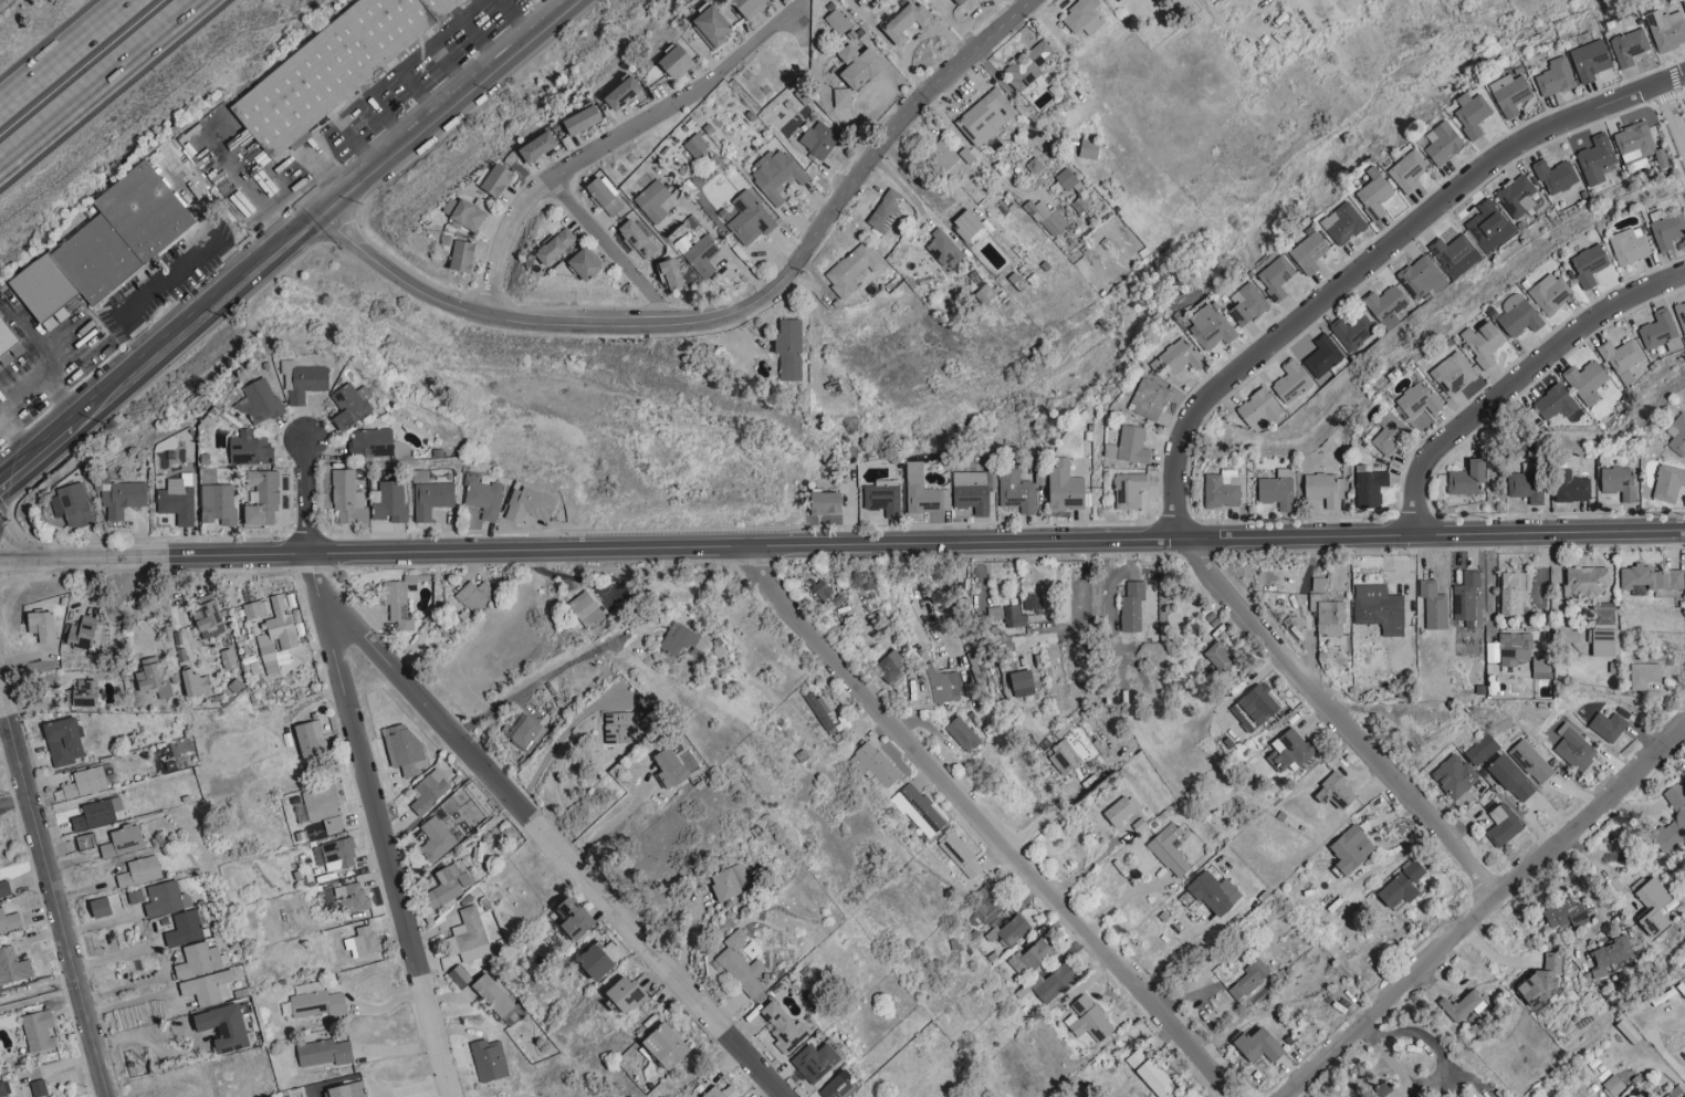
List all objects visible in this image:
building: (862, 1)
building: (962, 2)
building: (750, 6)
building: (1084, 17)
road: (512, 21)
building: (837, 21)
building: (907, 21)
road: (1234, 22)
building: (712, 27)
building: (1666, 29)
road: (480, 41)
building: (1629, 46)
road: (63, 52)
building: (1589, 60)
building: (678, 61)
building: (333, 65)
building: (860, 65)
building: (1029, 65)
road: (449, 67)
building: (1555, 77)
road: (104, 83)
road: (418, 93)
building: (624, 93)
building: (1510, 93)
building: (842, 97)
road: (349, 106)
road: (1673, 113)
building: (1471, 114)
building: (986, 116)
road: (388, 117)
building: (583, 119)
building: (819, 139)
road: (609, 143)
building: (1442, 143)
road: (356, 145)
building: (1634, 145)
building: (540, 146)
building: (695, 146)
building: (1089, 149)
building: (943, 155)
building: (1661, 158)
building: (1597, 159)
road: (328, 167)
building: (1406, 170)
building: (776, 174)
building: (1556, 176)
building: (1066, 178)
building: (499, 180)
building: (1375, 192)
building: (605, 196)
building: (1517, 196)
building: (653, 200)
building: (887, 210)
road: (327, 212)
building: (464, 213)
building: (1047, 218)
building: (750, 219)
building: (1342, 223)
building: (969, 224)
building: (1489, 227)
building: (1667, 231)
building: (639, 238)
building: (107, 243)
road: (725, 244)
building: (556, 245)
building: (1630, 245)
building: (944, 249)
road: (610, 252)
building: (1309, 252)
building: (1456, 254)
building: (463, 255)
building: (702, 255)
road: (1375, 257)
building: (587, 264)
building: (1589, 264)
building: (852, 269)
building: (671, 273)
road: (167, 275)
building: (1276, 276)
building: (1423, 276)
building: (1549, 293)
building: (1248, 304)
building: (1386, 304)
road: (730, 313)
building: (1518, 315)
building: (1681, 315)
building: (1210, 327)
building: (1658, 330)
building: (1351, 333)
building: (1483, 343)
building: (9, 346)
building: (789, 349)
building: (1621, 355)
building: (1323, 356)
building: (1172, 358)
road: (43, 368)
building: (1453, 373)
road: (1517, 378)
building: (304, 382)
building: (1291, 382)
building: (1587, 382)
building: (1149, 399)
building: (1419, 400)
building: (259, 401)
building: (1556, 403)
building: (352, 405)
building: (1259, 410)
building: (1390, 432)
building: (1677, 435)
building: (371, 442)
building: (1130, 446)
building: (250, 449)
road: (34, 450)
building: (1467, 478)
building: (1527, 482)
building: (1619, 482)
building: (1668, 482)
building: (1065, 487)
building: (1370, 487)
building: (1223, 488)
building: (1572, 488)
building: (1277, 489)
building: (1323, 489)
building: (1129, 490)
road: (310, 491)
building: (971, 491)
building: (1017, 491)
building: (923, 492)
building: (263, 497)
building: (347, 498)
building: (124, 499)
building: (178, 499)
building: (432, 499)
building: (485, 499)
building: (882, 499)
building: (388, 501)
building: (218, 503)
building: (827, 503)
building: (72, 505)
building: (531, 505)
road: (841, 541)
road: (313, 570)
building: (1650, 578)
building: (1587, 579)
building: (1318, 584)
building: (821, 588)
road: (1490, 588)
building: (1511, 593)
building: (474, 595)
building: (1466, 597)
building: (399, 600)
building: (1032, 603)
building: (1434, 604)
building: (1132, 607)
building: (586, 608)
building: (253, 609)
building: (1381, 612)
building: (1603, 613)
building: (1328, 615)
building: (1014, 616)
building: (209, 618)
building: (281, 623)
building: (43, 625)
building: (83, 631)
building: (101, 634)
building: (679, 638)
building: (1602, 642)
building: (1515, 647)
building: (268, 652)
building: (1221, 656)
building: (892, 666)
building: (1541, 667)
building: (151, 673)
building: (1644, 675)
building: (197, 682)
road: (536, 682)
building: (1023, 682)
building: (943, 683)
building: (84, 692)
building: (1255, 707)
building: (825, 714)
road: (1338, 717)
building: (1610, 723)
building: (527, 733)
building: (963, 733)
building: (311, 738)
building: (64, 741)
road: (559, 741)
building: (405, 748)
building: (1483, 749)
building: (1576, 749)
building: (1290, 750)
building: (1069, 753)
building: (1531, 761)
building: (858, 763)
building: (877, 763)
building: (672, 767)
building: (1455, 775)
building: (1511, 777)
building: (85, 782)
building: (429, 791)
building: (1336, 791)
road: (522, 798)
road: (13, 800)
building: (1677, 804)
building: (324, 807)
building: (918, 809)
building: (1120, 809)
building: (94, 816)
road: (986, 819)
building: (1503, 824)
building: (436, 838)
building: (85, 840)
building: (123, 840)
road: (551, 844)
road: (384, 845)
building: (1352, 848)
building: (1170, 849)
building: (338, 854)
building: (961, 855)
building: (1413, 869)
building: (139, 871)
building: (732, 880)
building: (449, 884)
building: (4, 889)
building: (1399, 889)
building: (1215, 892)
road: (53, 896)
building: (352, 897)
building: (166, 898)
building: (101, 907)
building: (1654, 907)
road: (1482, 911)
building: (1566, 912)
building: (1270, 913)
building: (576, 918)
building: (9, 920)
building: (185, 928)
building: (1009, 928)
building: (468, 936)
building: (363, 941)
building: (1610, 954)
road: (122, 955)
building: (1030, 958)
building: (200, 959)
building: (597, 960)
building: (741, 964)
building: (13, 967)
building: (459, 975)
building: (1250, 978)
building: (1546, 979)
building: (1053, 982)
road: (168, 984)
building: (208, 988)
building: (627, 992)
building: (495, 996)
road: (39, 999)
building: (317, 1003)
building: (1462, 1005)
building: (1088, 1020)
building: (224, 1026)
building: (785, 1026)
building: (39, 1030)
building: (667, 1045)
building: (1259, 1045)
building: (324, 1052)
building: (489, 1059)
building: (816, 1061)
road: (1443, 1065)
building: (1150, 1073)
building: (1613, 1085)
building: (839, 1086)
building: (38, 1087)
building: (4, 1088)
building: (1383, 1088)
building: (347, 1089)
building: (723, 1091)
building: (1675, 1091)
building: (1428, 1096)

